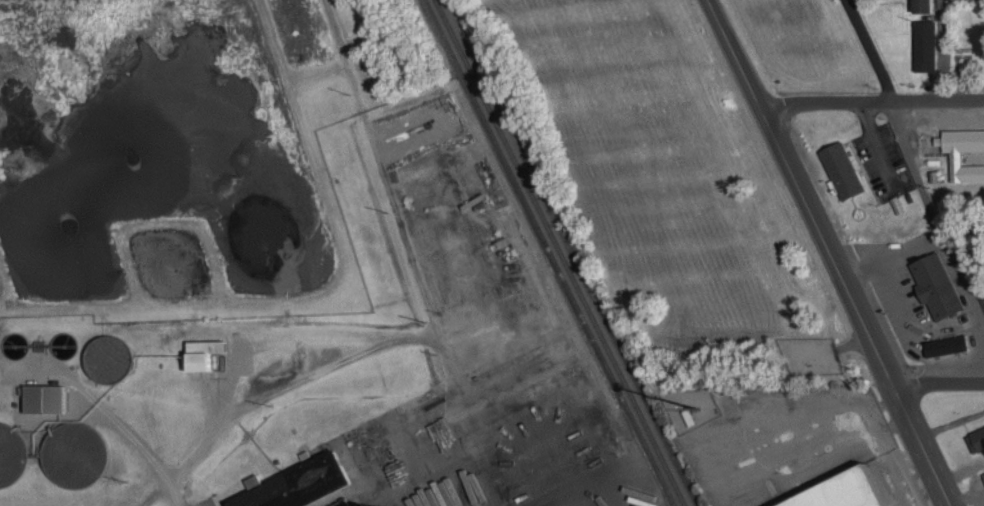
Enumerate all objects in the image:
building: (920, 6)
building: (923, 45)
road: (944, 49)
road: (872, 98)
building: (954, 157)
road: (912, 163)
building: (840, 169)
road: (801, 191)
railway: (562, 252)
railway: (548, 253)
building: (934, 284)
building: (944, 343)
building: (201, 351)
road: (940, 382)
building: (41, 397)
building: (975, 438)
road: (926, 444)
building: (982, 473)
building: (293, 483)
building: (483, 494)
building: (379, 504)
building: (354, 505)

